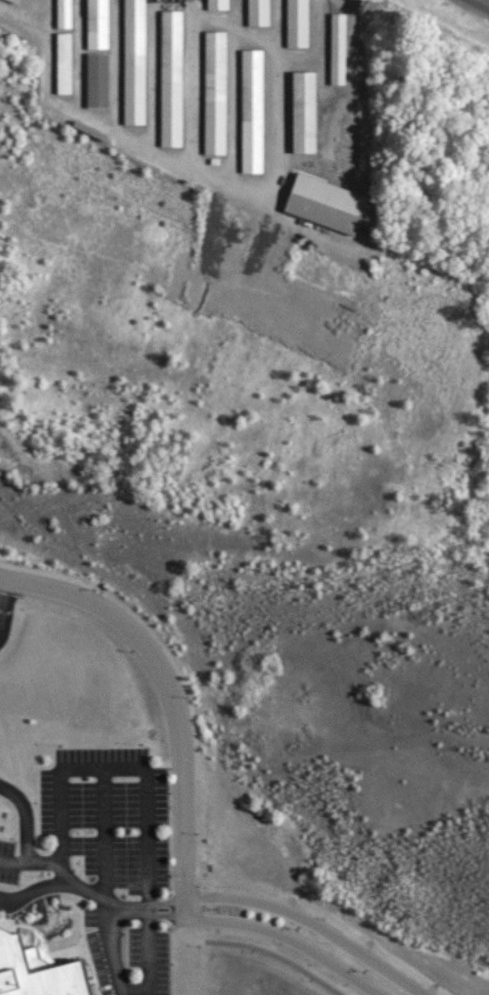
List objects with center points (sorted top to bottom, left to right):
building: (16, 0)
road: (486, 1)
building: (218, 5)
building: (258, 13)
building: (64, 14)
road: (24, 16)
building: (297, 24)
building: (97, 25)
building: (338, 50)
building: (134, 62)
building: (64, 64)
building: (171, 79)
building: (97, 81)
building: (215, 93)
building: (252, 112)
building: (304, 113)
building: (326, 205)
road: (2, 591)
road: (174, 697)
road: (147, 801)
road: (25, 818)
road: (103, 833)
parking lot: (116, 859)
parking lot: (8, 861)
road: (30, 863)
road: (40, 889)
road: (148, 910)
road: (129, 911)
road: (311, 923)
road: (110, 924)
road: (287, 938)
road: (276, 956)
building: (37, 971)

